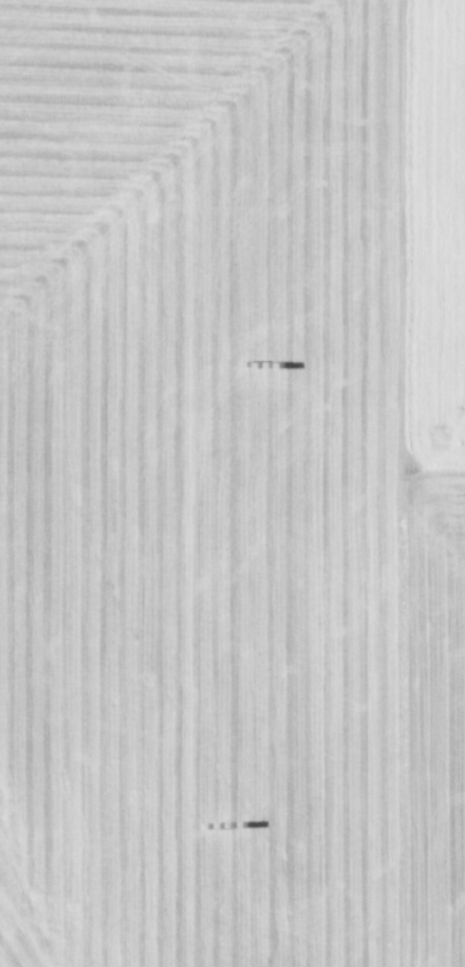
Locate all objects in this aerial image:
crop: (232, 483)

